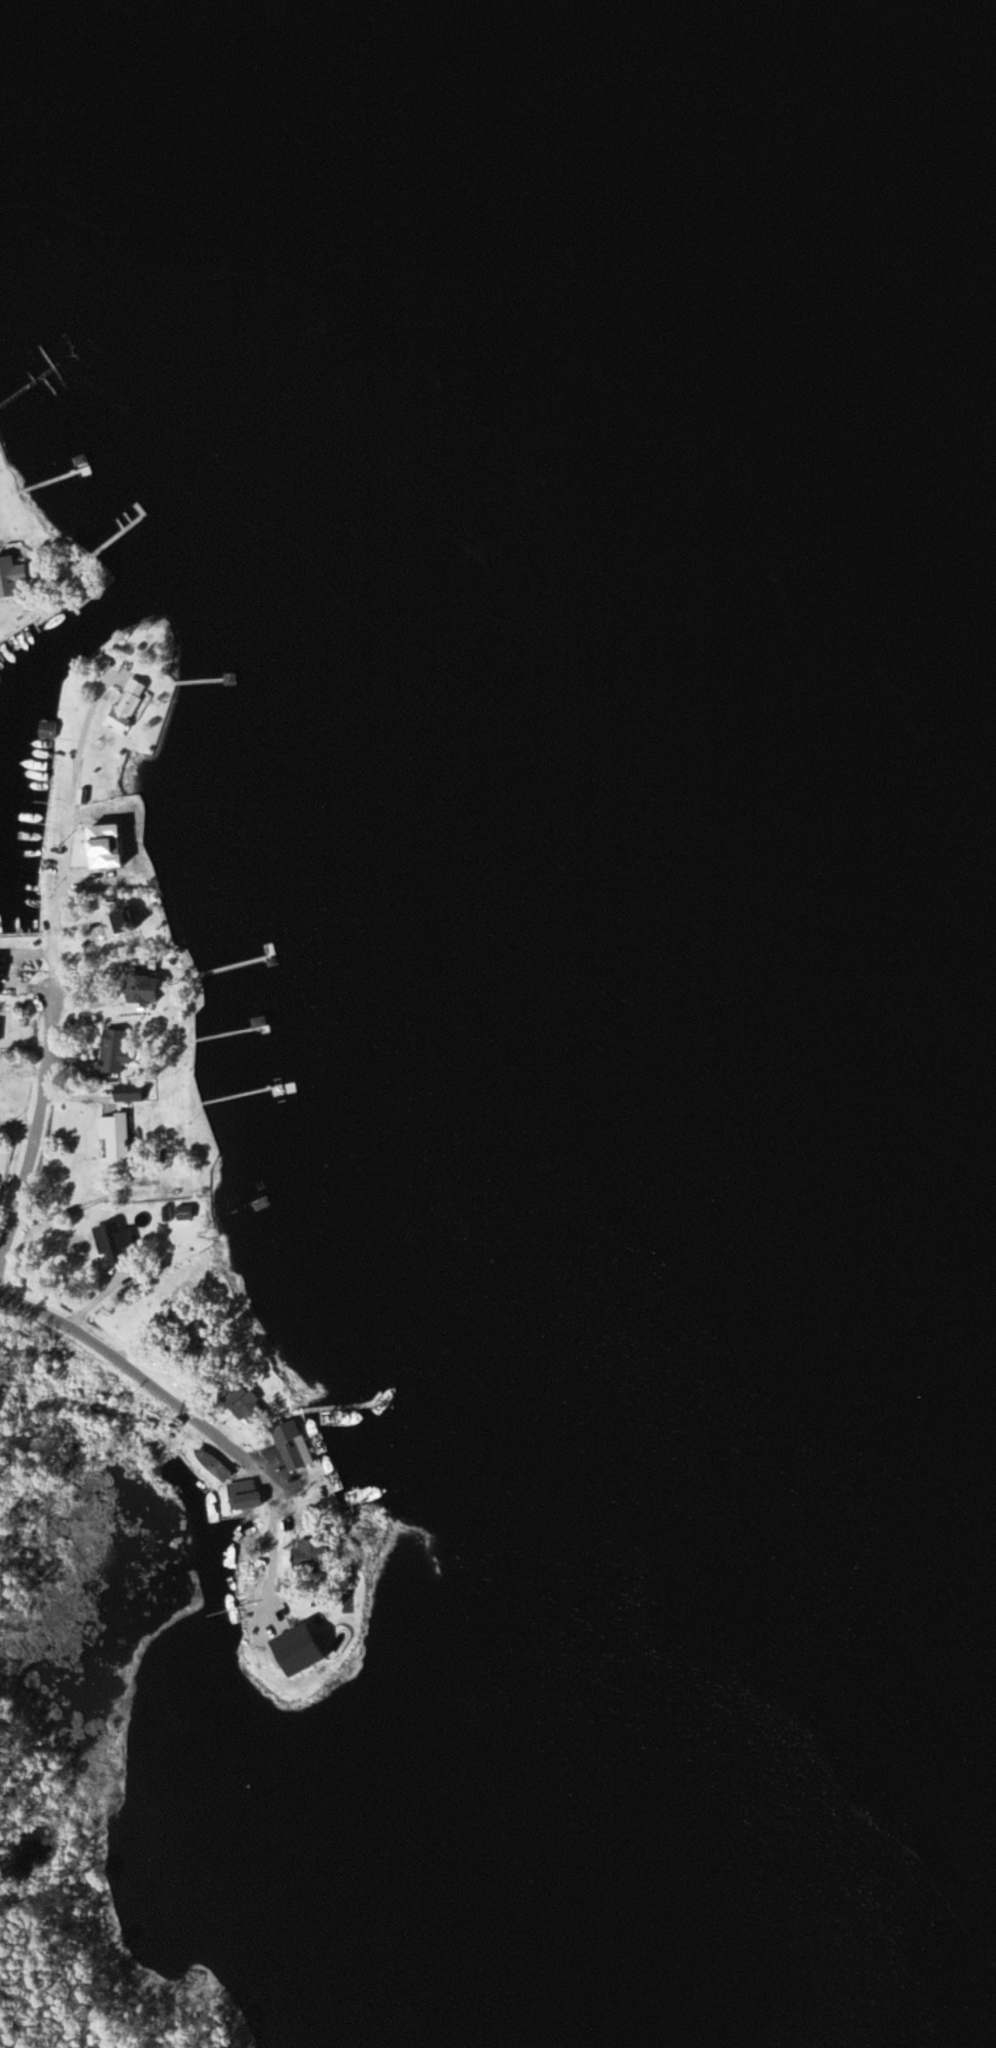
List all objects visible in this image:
building: (10, 576)
building: (126, 704)
building: (46, 730)
building: (116, 922)
building: (135, 989)
building: (112, 1050)
road: (46, 1091)
building: (124, 1093)
building: (113, 1138)
building: (113, 1243)
road: (136, 1376)
building: (239, 1402)
building: (290, 1446)
building: (241, 1495)
building: (307, 1554)

